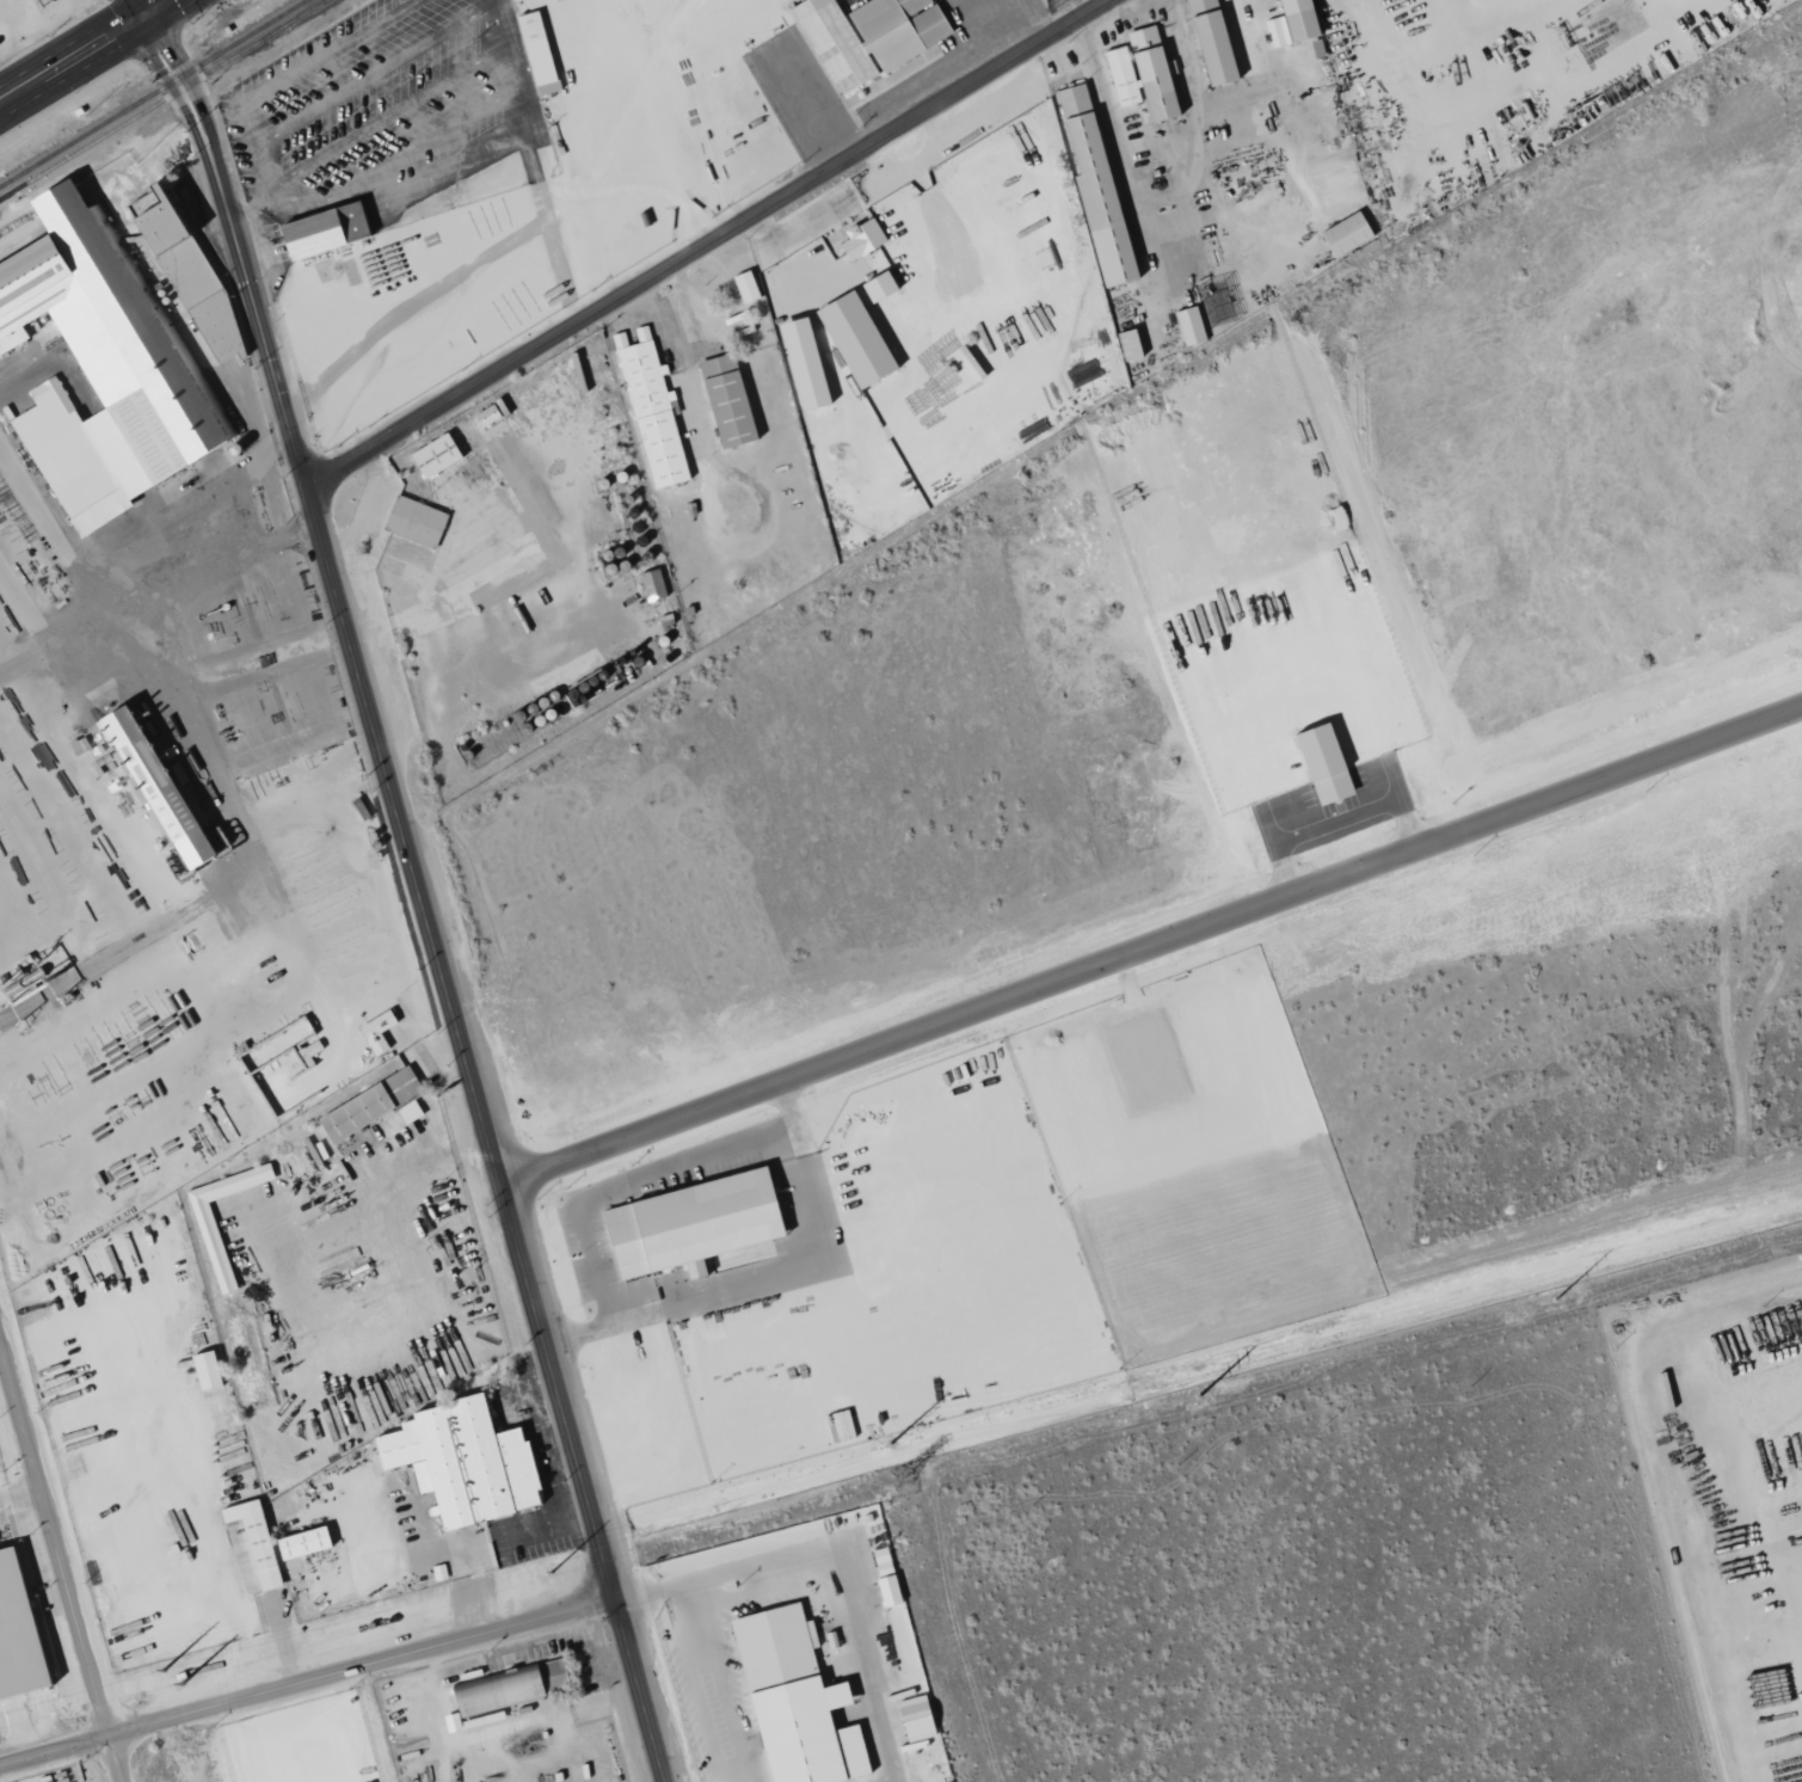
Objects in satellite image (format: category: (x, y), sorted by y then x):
railway: (306, 11)
building: (1290, 23)
building: (865, 36)
building: (1208, 41)
road: (85, 51)
building: (536, 53)
building: (1139, 74)
railway: (153, 93)
railway: (162, 99)
building: (1093, 188)
building: (153, 225)
building: (320, 231)
building: (1345, 234)
building: (861, 238)
road: (703, 244)
building: (743, 287)
building: (201, 302)
building: (1188, 326)
building: (853, 339)
building: (1126, 344)
building: (800, 364)
building: (98, 369)
building: (725, 400)
building: (650, 410)
building: (432, 455)
road: (248, 508)
building: (413, 522)
road: (150, 569)
building: (651, 585)
building: (1320, 762)
building: (148, 784)
road: (414, 884)
road: (1730, 909)
road: (1150, 960)
building: (375, 1031)
building: (368, 1105)
road: (332, 1206)
building: (688, 1224)
building: (210, 1245)
power tower: (1555, 1299)
building: (203, 1370)
power tower: (1197, 1396)
power tower: (888, 1443)
building: (460, 1462)
power tower: (897, 1480)
building: (253, 1541)
building: (300, 1543)
road: (61, 1561)
road: (739, 1563)
power tower: (548, 1574)
building: (884, 1577)
road: (748, 1589)
road: (665, 1594)
building: (16, 1636)
road: (854, 1639)
power tower: (162, 1670)
power tower: (182, 1682)
road: (717, 1686)
road: (308, 1688)
building: (504, 1691)
building: (787, 1695)

